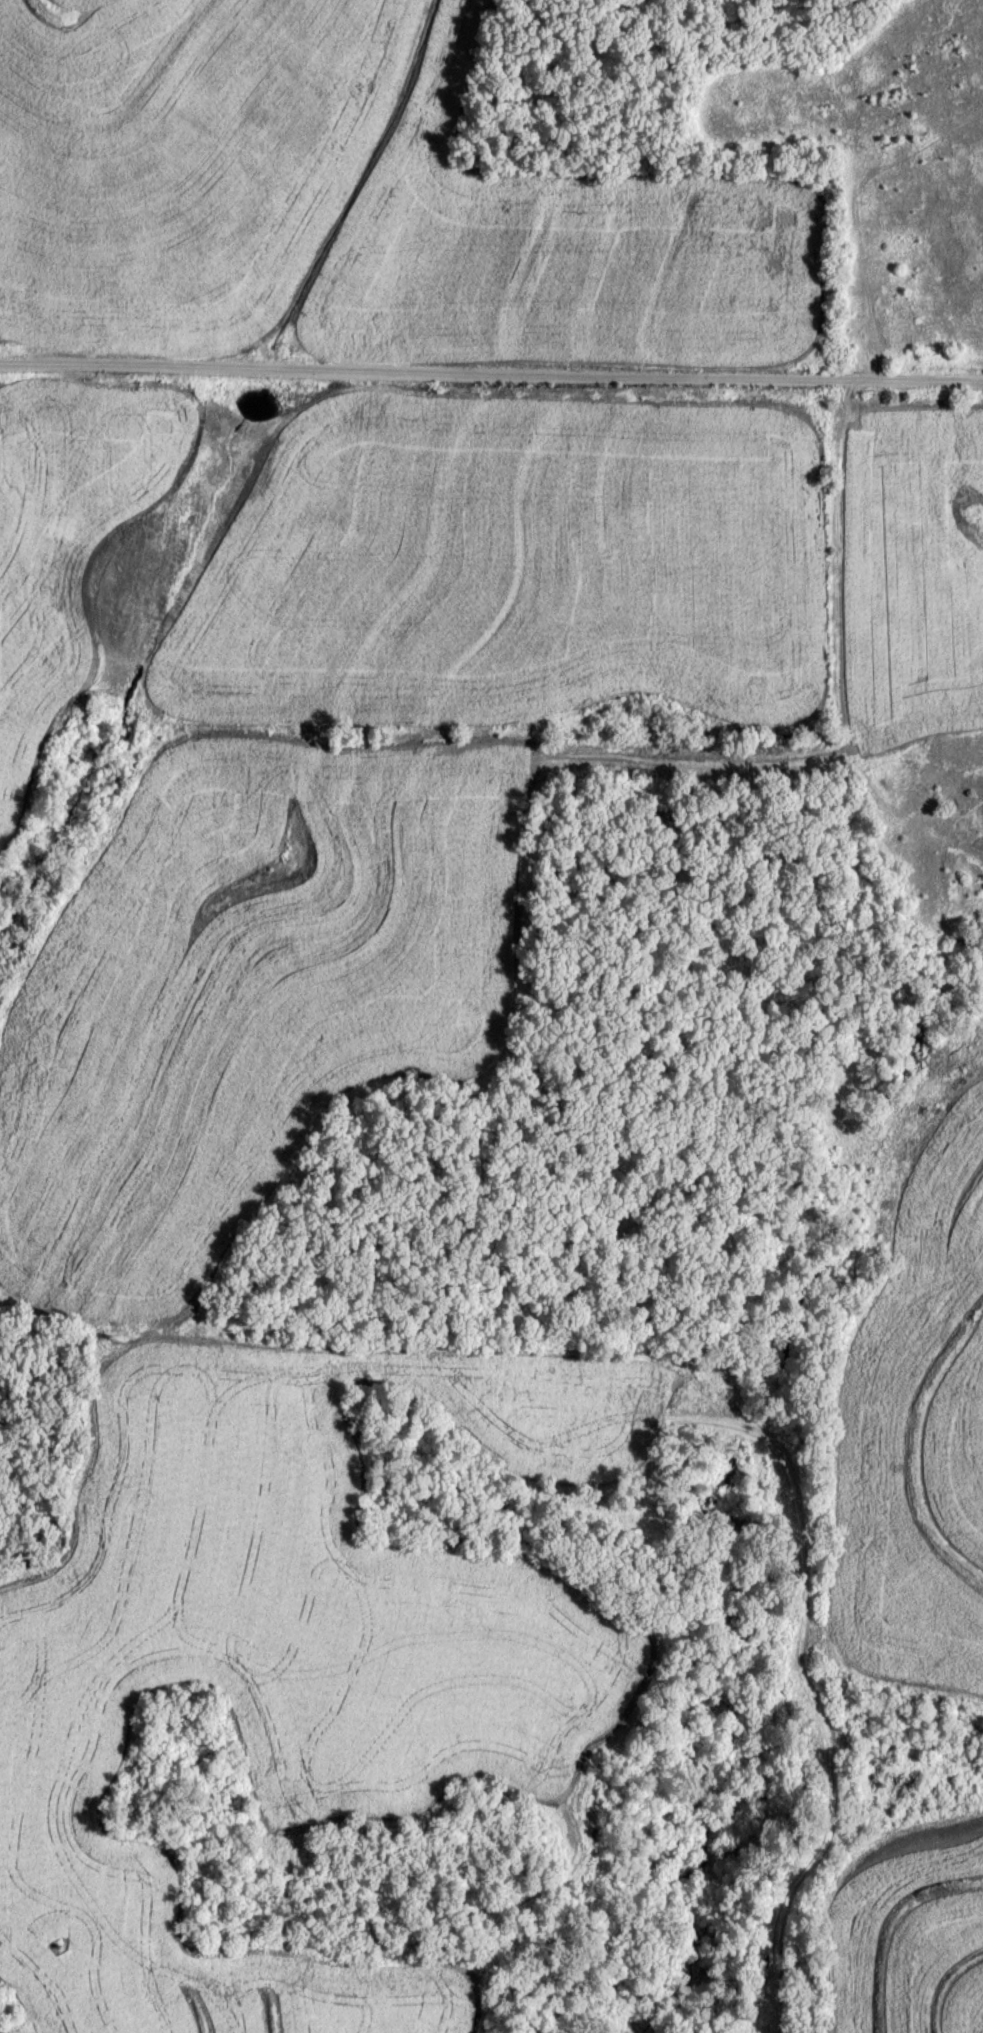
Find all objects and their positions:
road: (491, 355)

